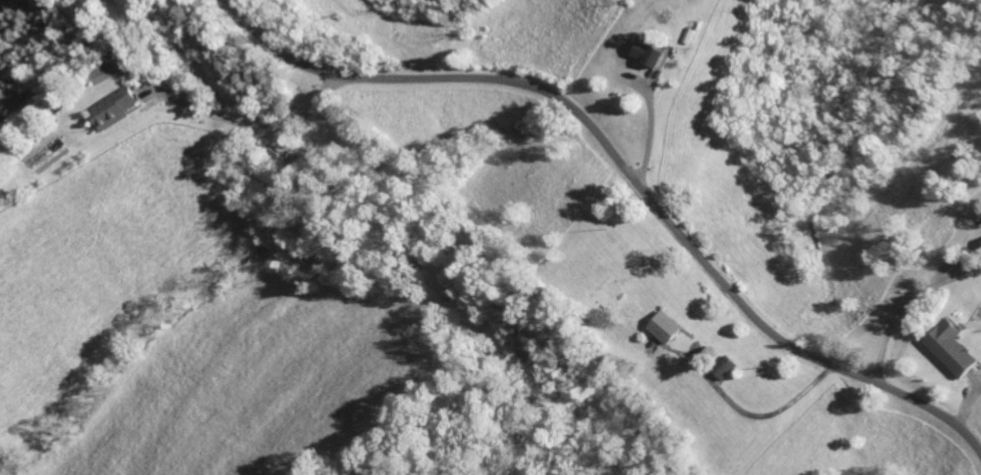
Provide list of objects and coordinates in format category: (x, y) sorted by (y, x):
building: (653, 54)
road: (270, 138)
road: (629, 173)
road: (299, 235)
road: (346, 270)
road: (905, 305)
building: (669, 328)
building: (953, 349)

